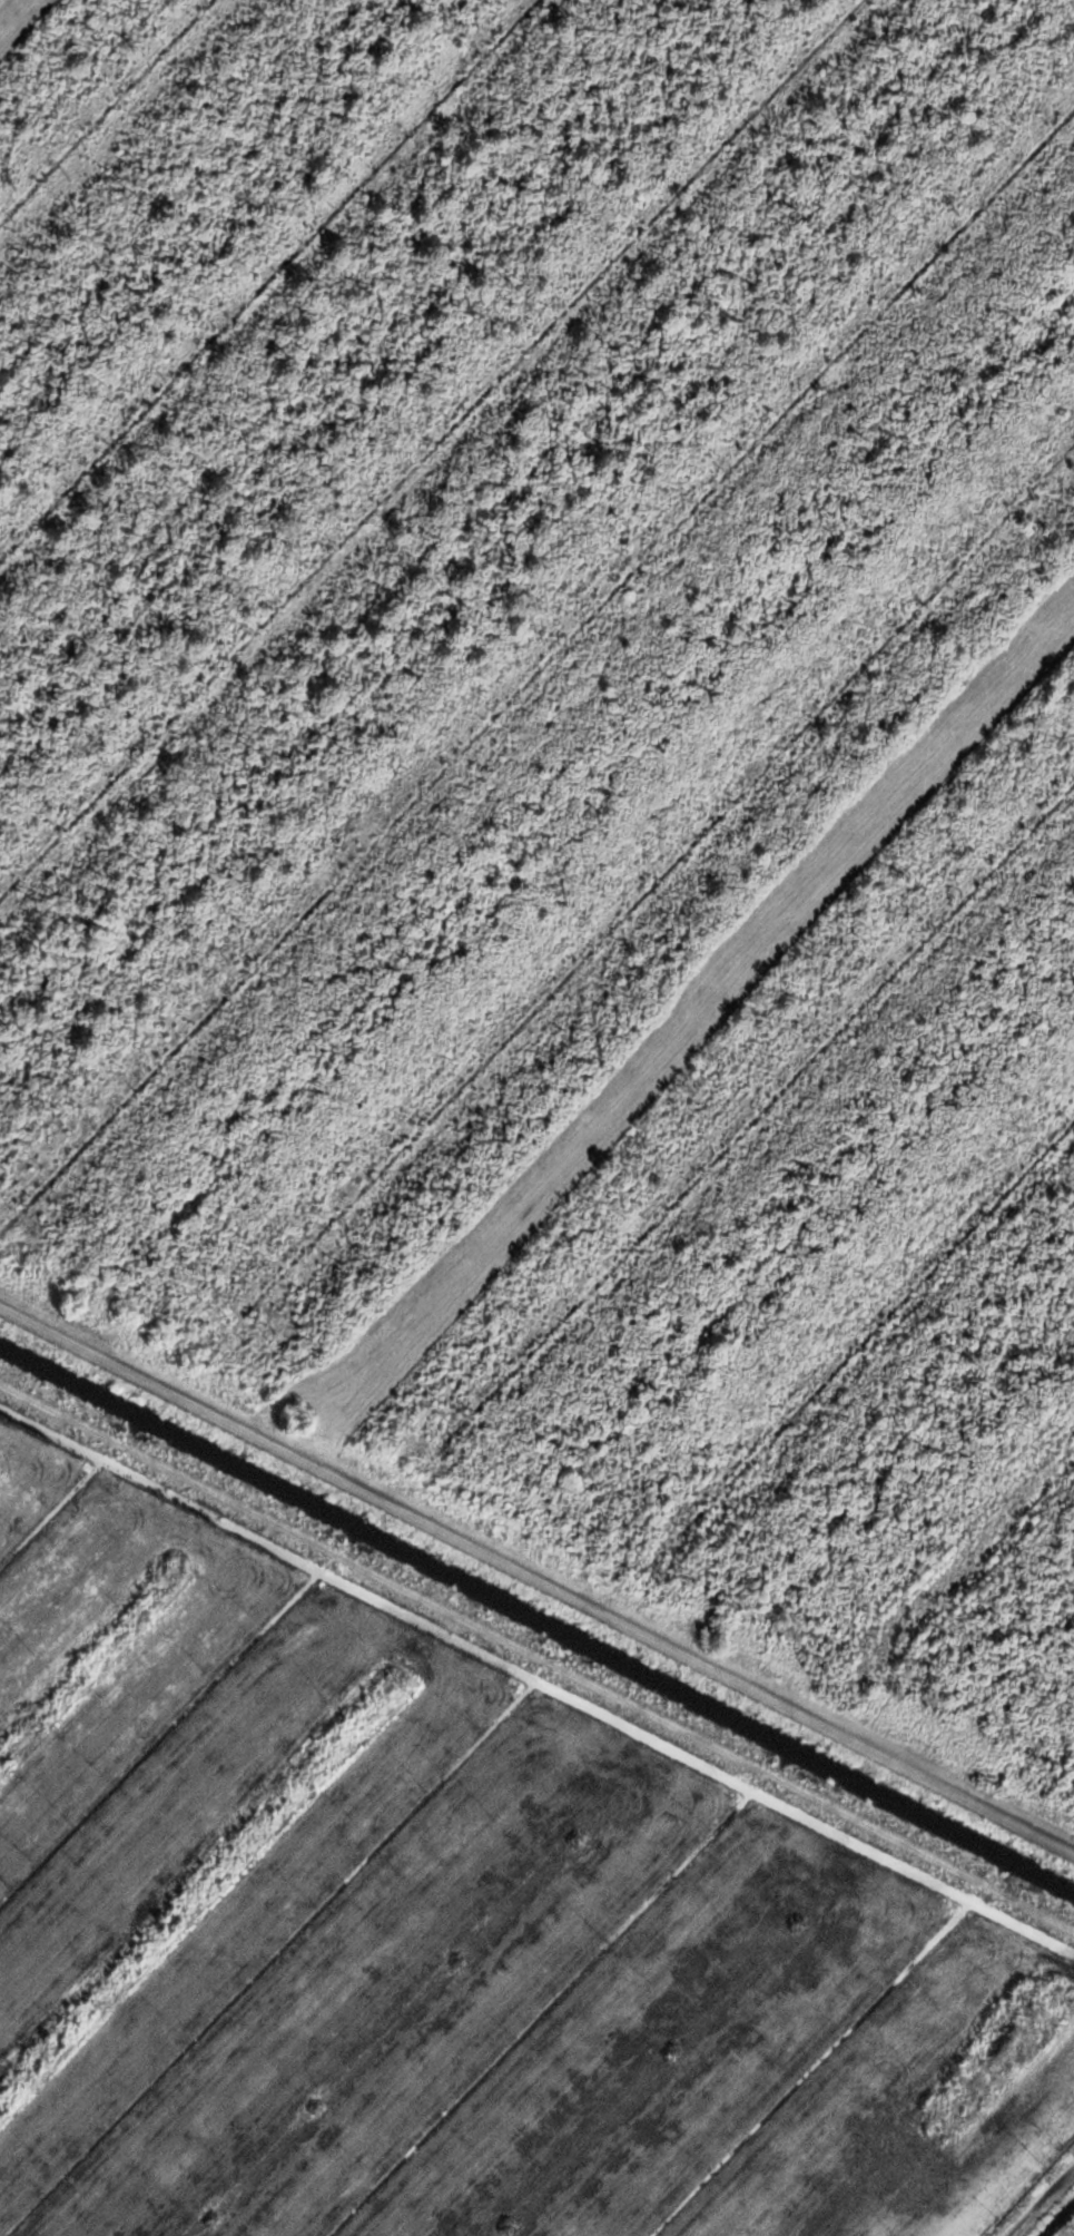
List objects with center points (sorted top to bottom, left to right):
road: (536, 1585)
road: (1034, 2195)

